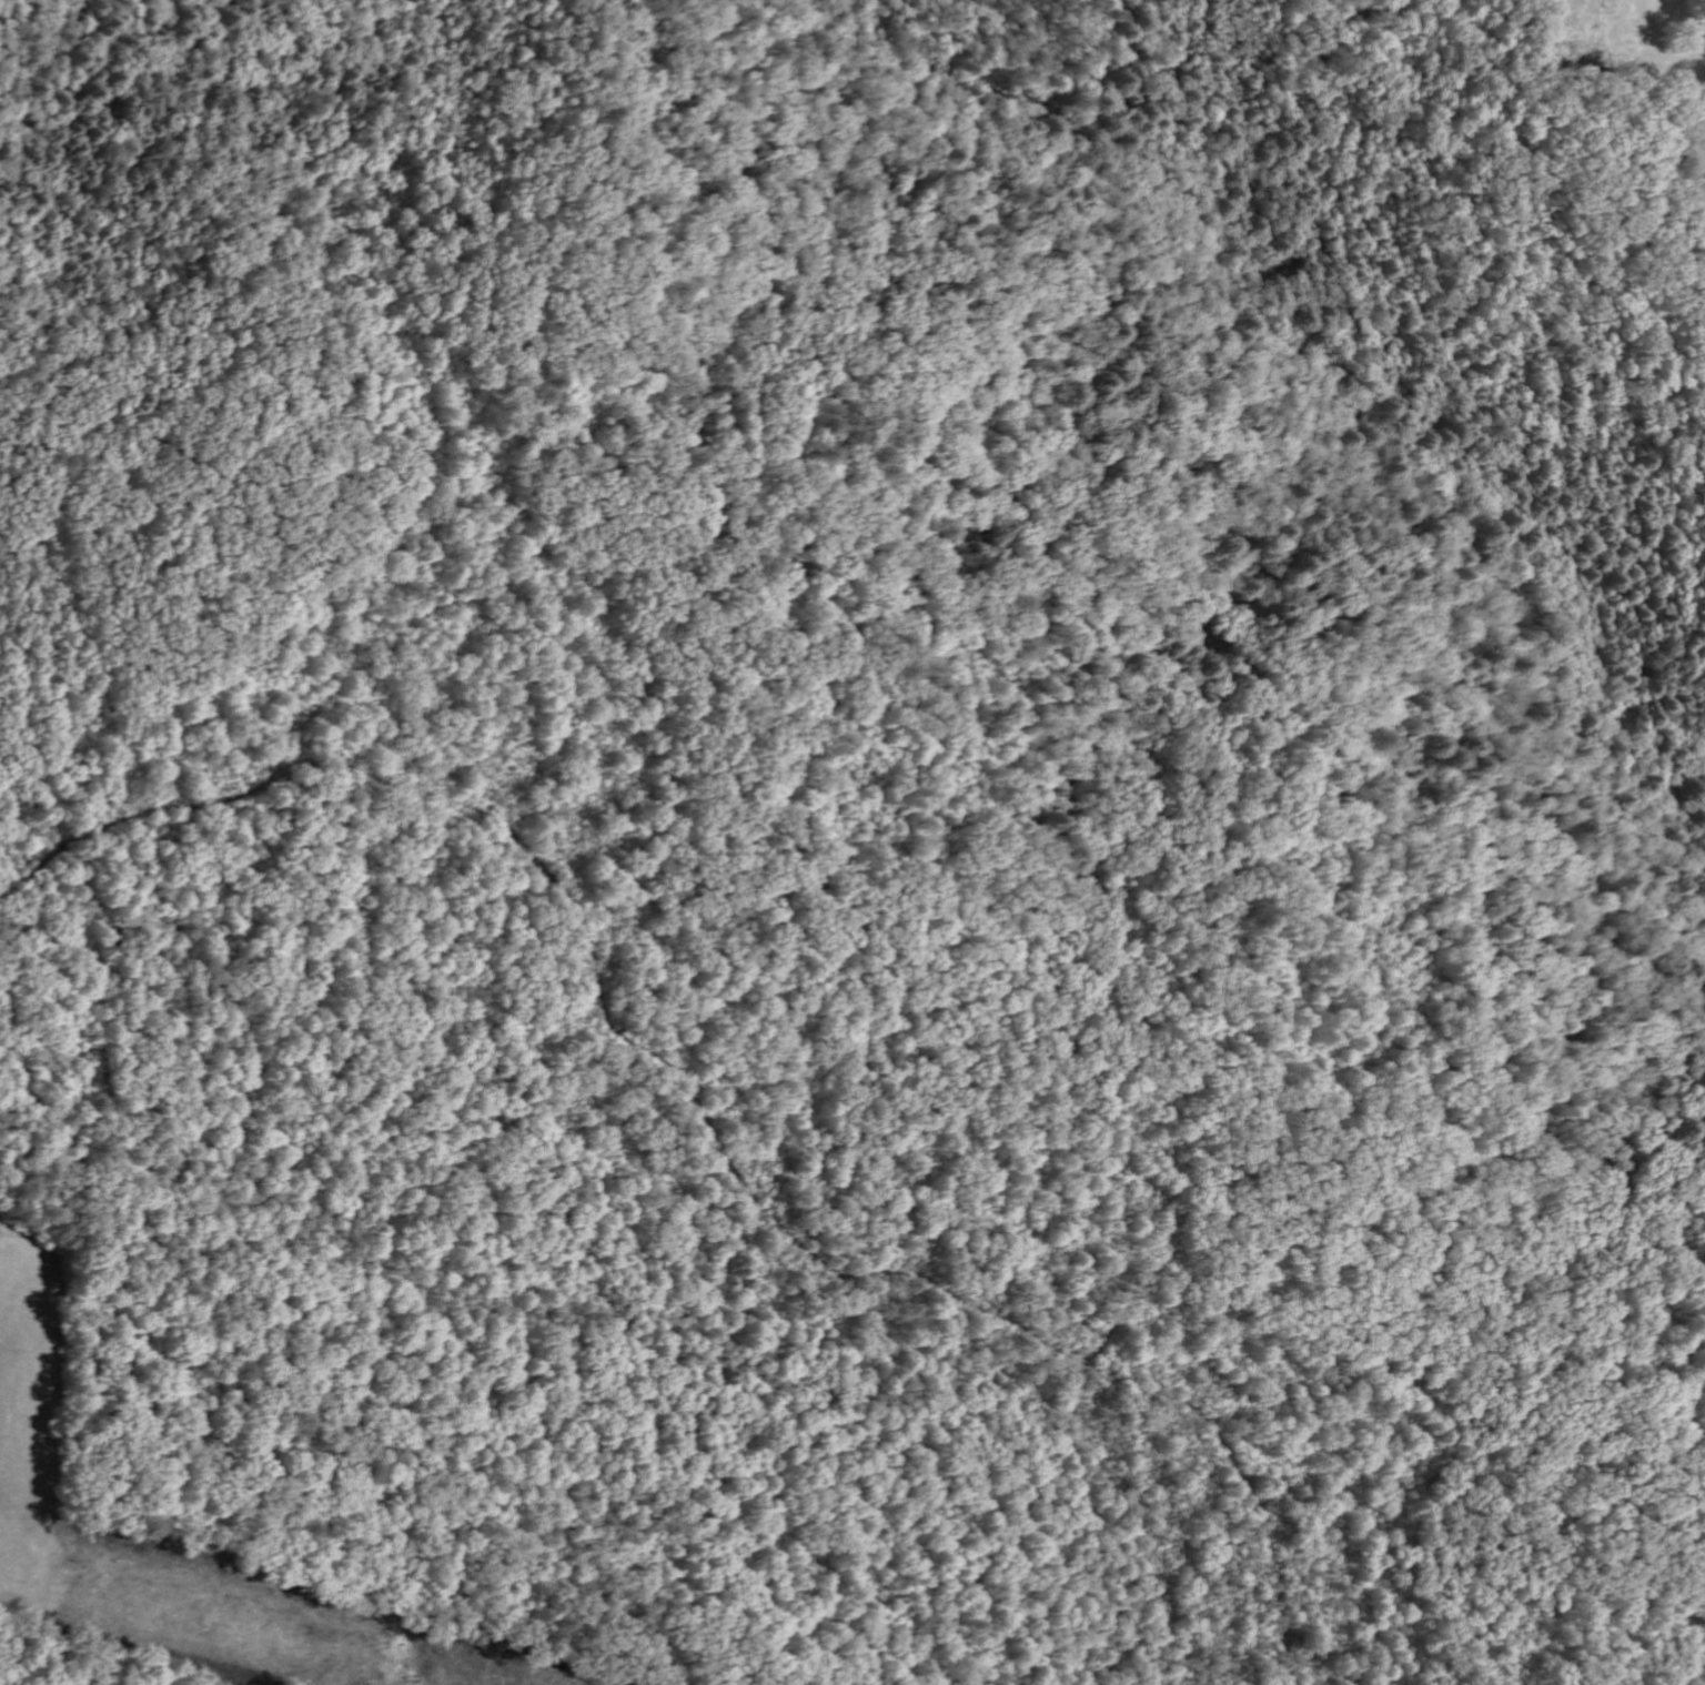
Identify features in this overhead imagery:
road: (698, 1079)

